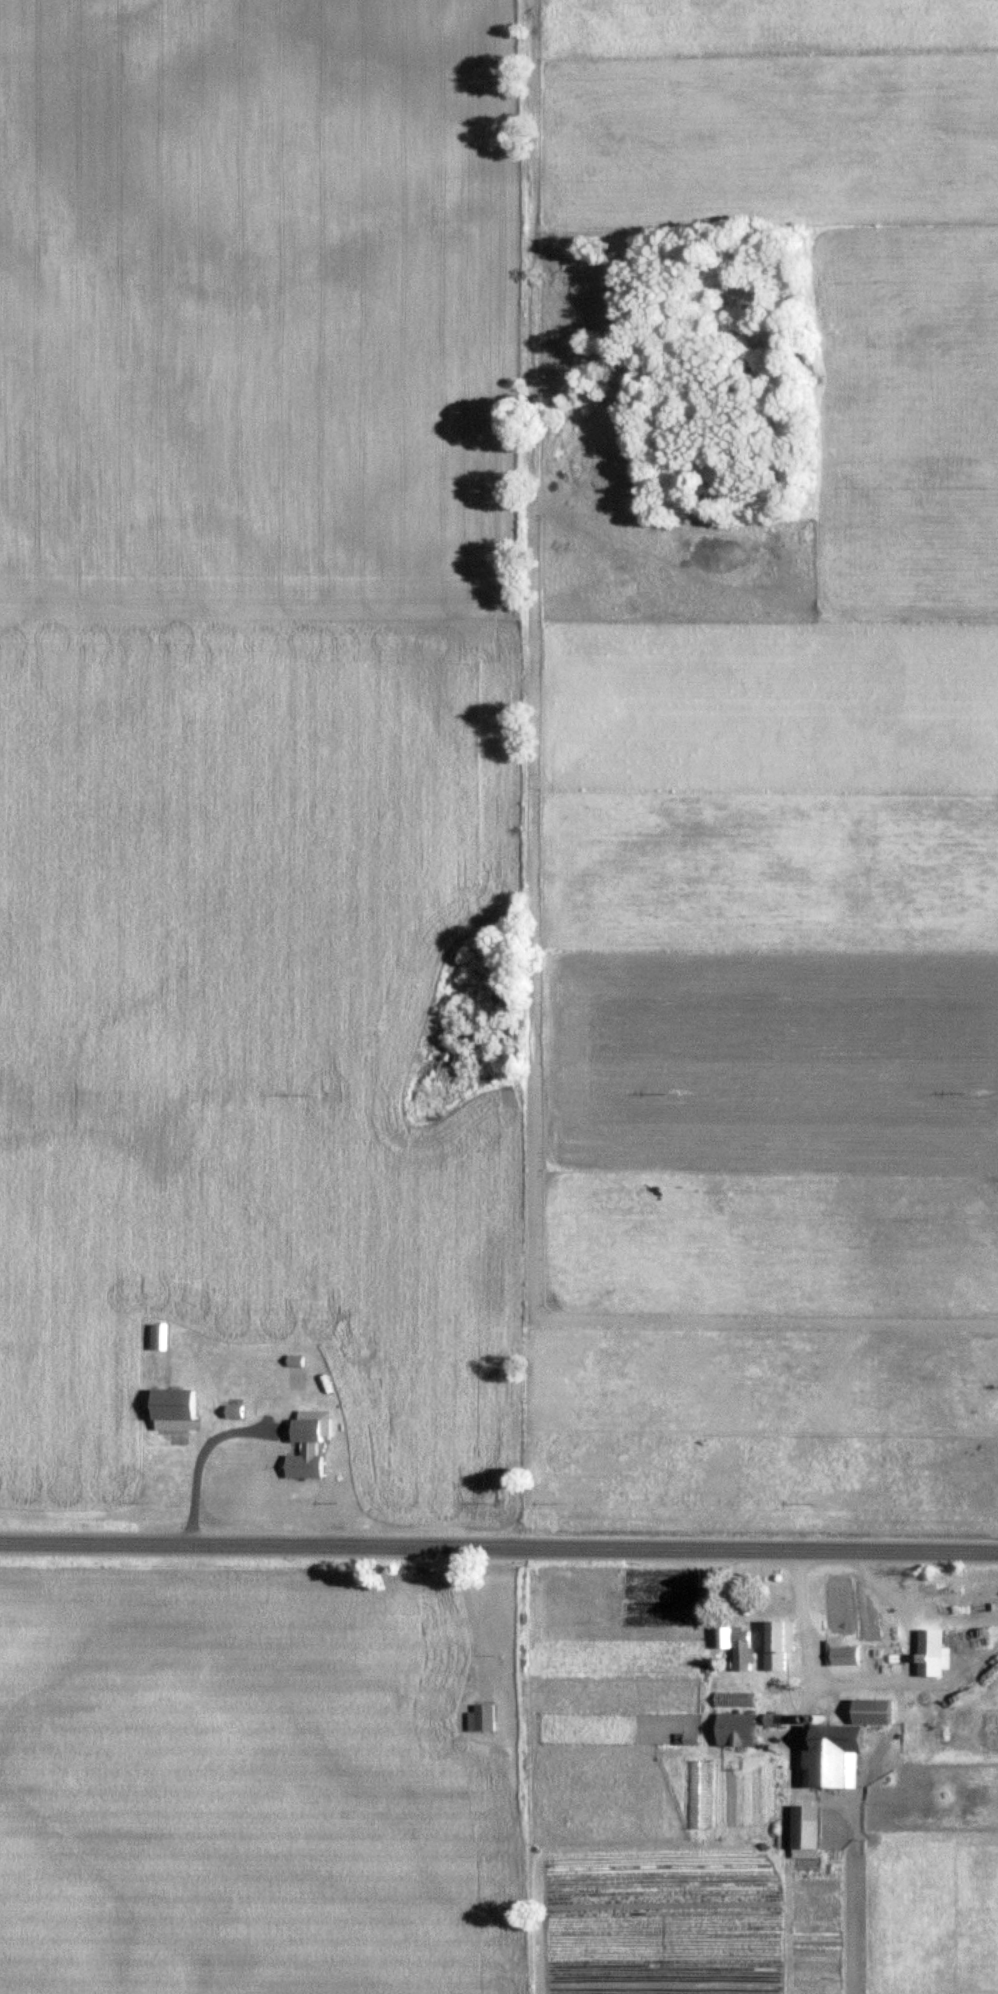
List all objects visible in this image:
crop: (252, 726)
building: (155, 1337)
building: (169, 1410)
building: (305, 1444)
road: (195, 1456)
road: (499, 1541)
road: (903, 1608)
road: (474, 1614)
building: (771, 1637)
building: (733, 1644)
road: (814, 1665)
road: (913, 1681)
building: (442, 1698)
building: (732, 1701)
building: (479, 1718)
building: (733, 1721)
building: (837, 1744)
building: (801, 1826)

